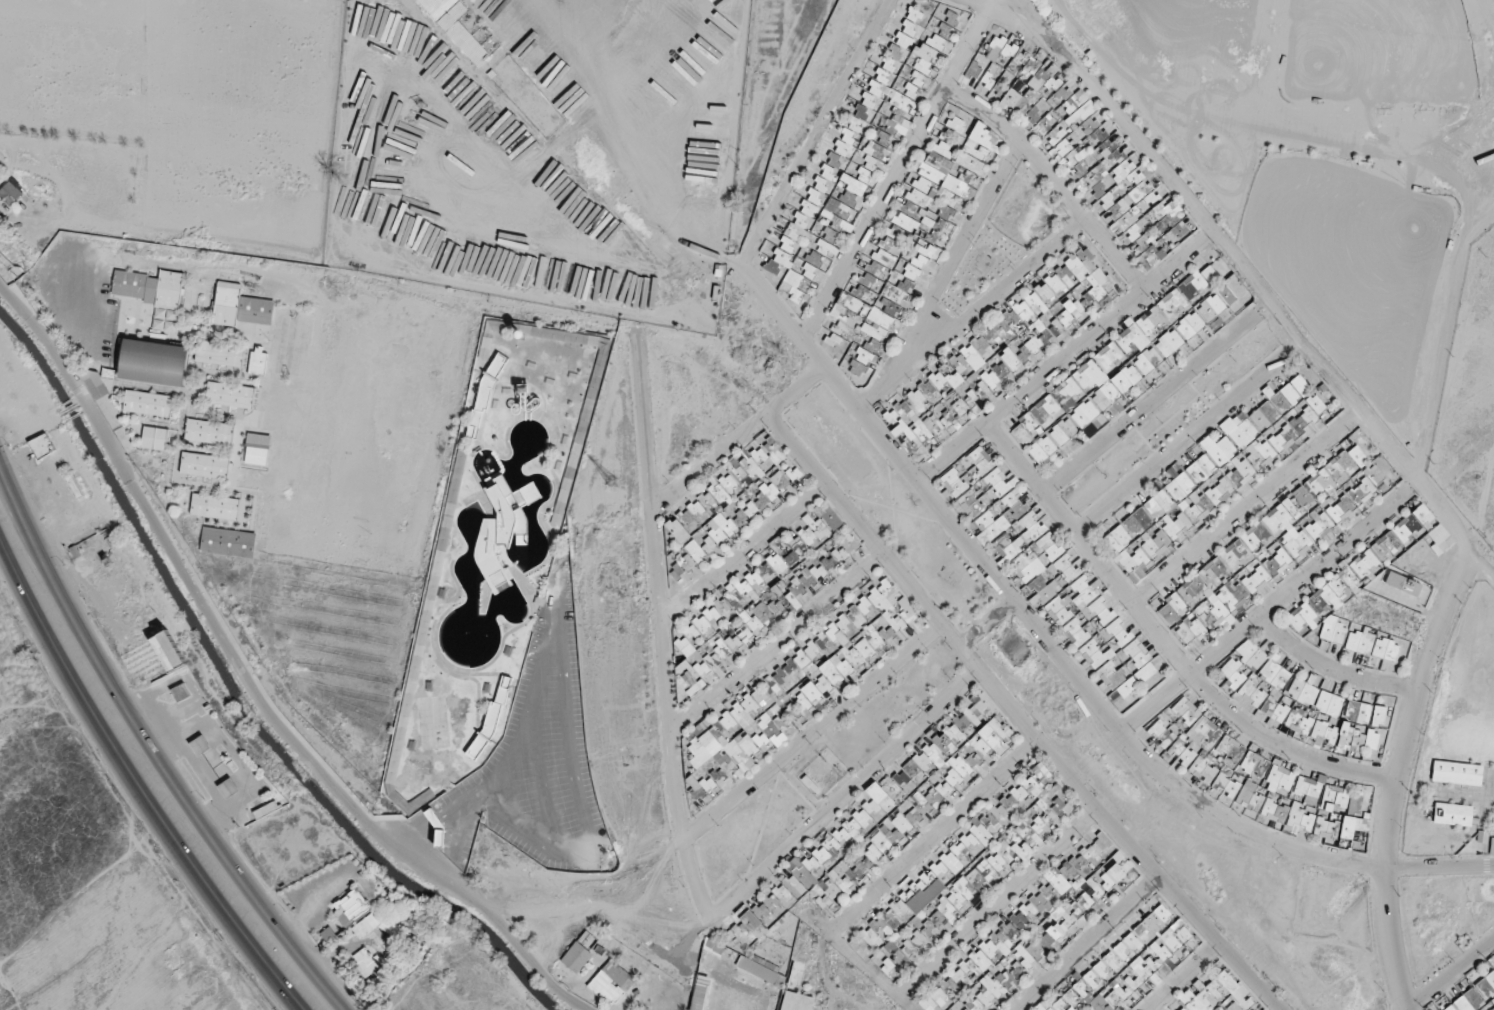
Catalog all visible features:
park: (85, 7)
park: (1388, 45)
park: (245, 54)
park: (72, 75)
power tower: (609, 478)
parking lot: (537, 758)

